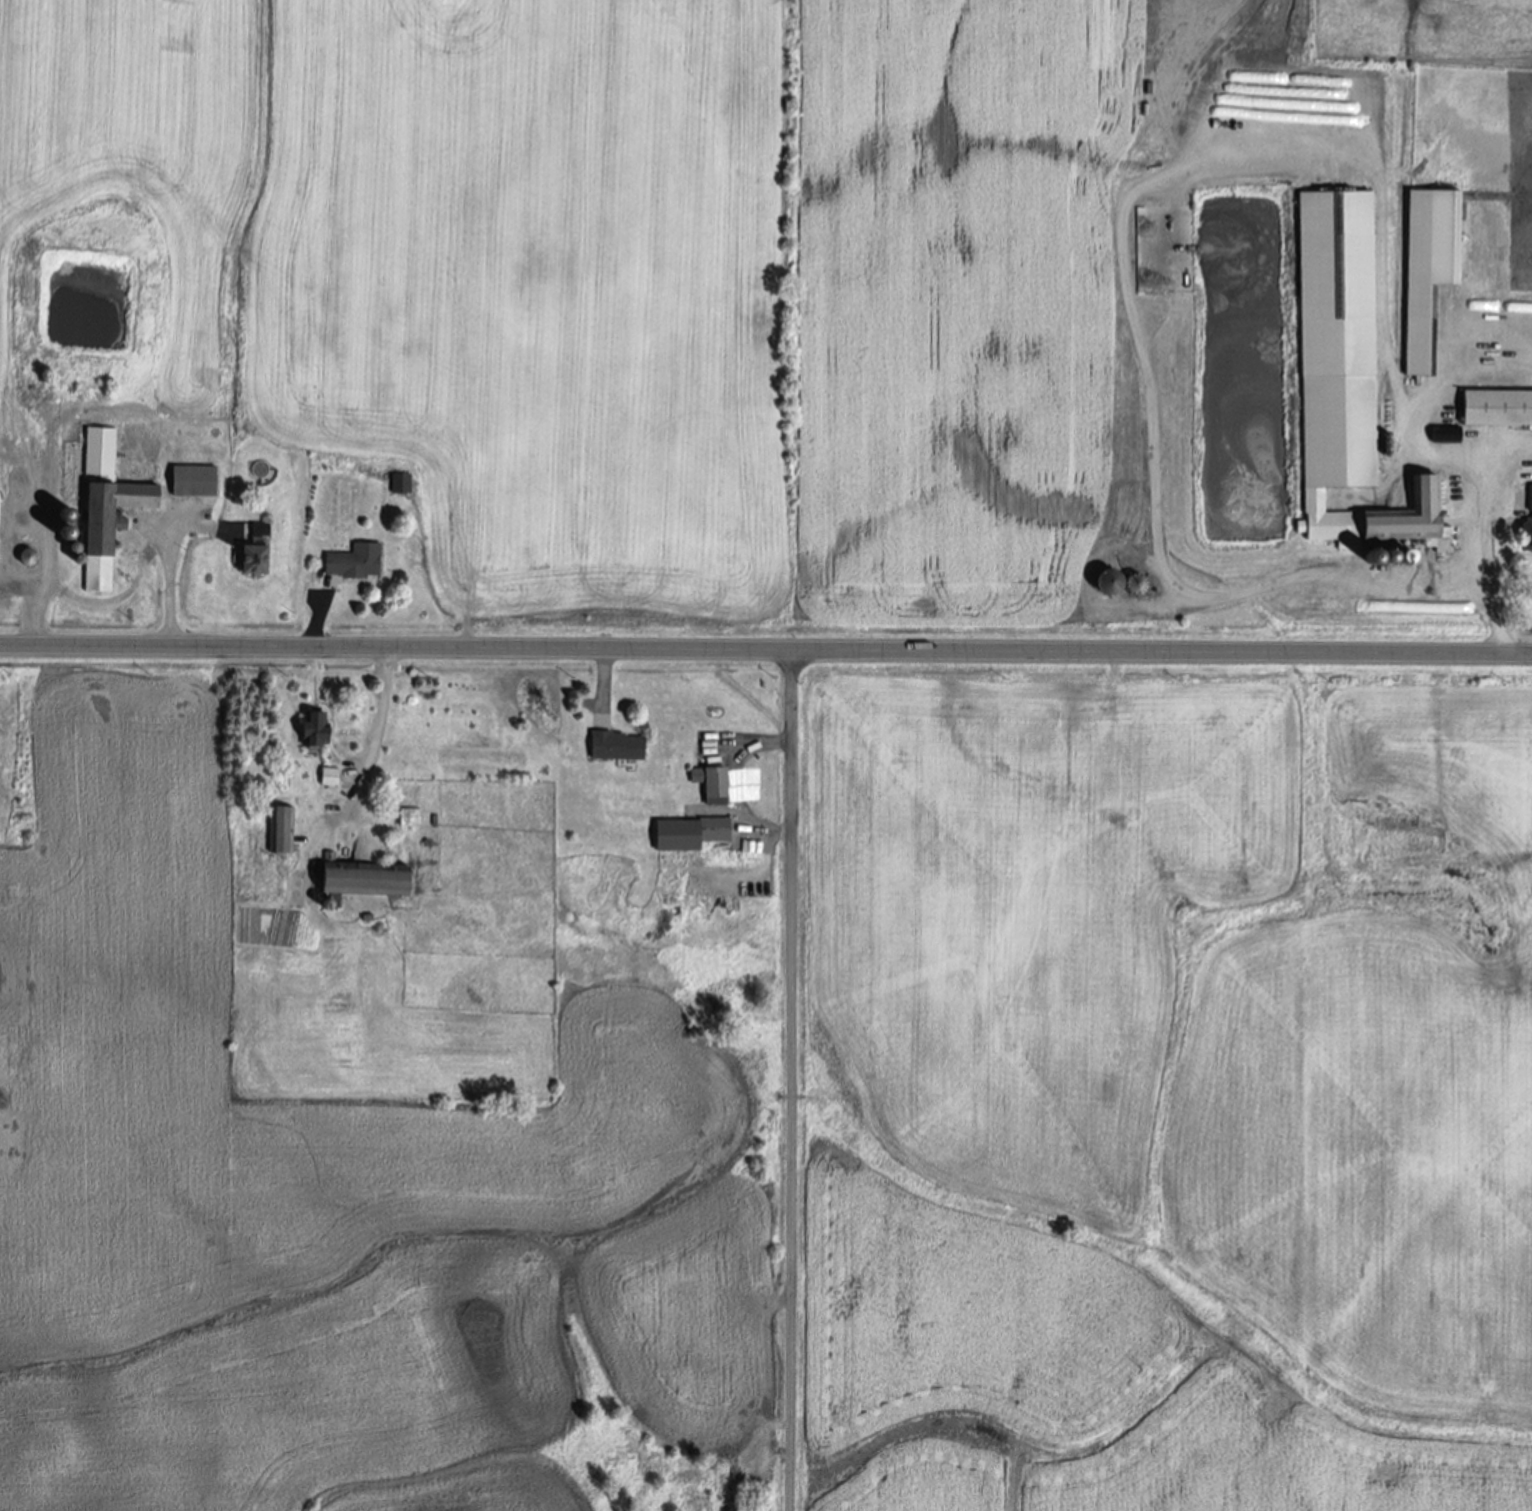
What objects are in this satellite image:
road: (1121, 257)
building: (1422, 285)
building: (1346, 376)
building: (1497, 410)
building: (1449, 437)
building: (101, 453)
building: (196, 483)
building: (402, 485)
building: (0, 498)
building: (1531, 519)
building: (111, 528)
building: (258, 554)
building: (356, 563)
road: (1489, 566)
building: (1122, 585)
road: (169, 589)
road: (45, 599)
road: (766, 651)
road: (605, 674)
road: (382, 721)
building: (318, 731)
road: (760, 743)
building: (620, 747)
building: (330, 778)
building: (714, 785)
building: (411, 819)
building: (283, 832)
building: (692, 835)
building: (364, 881)
road: (791, 1081)

